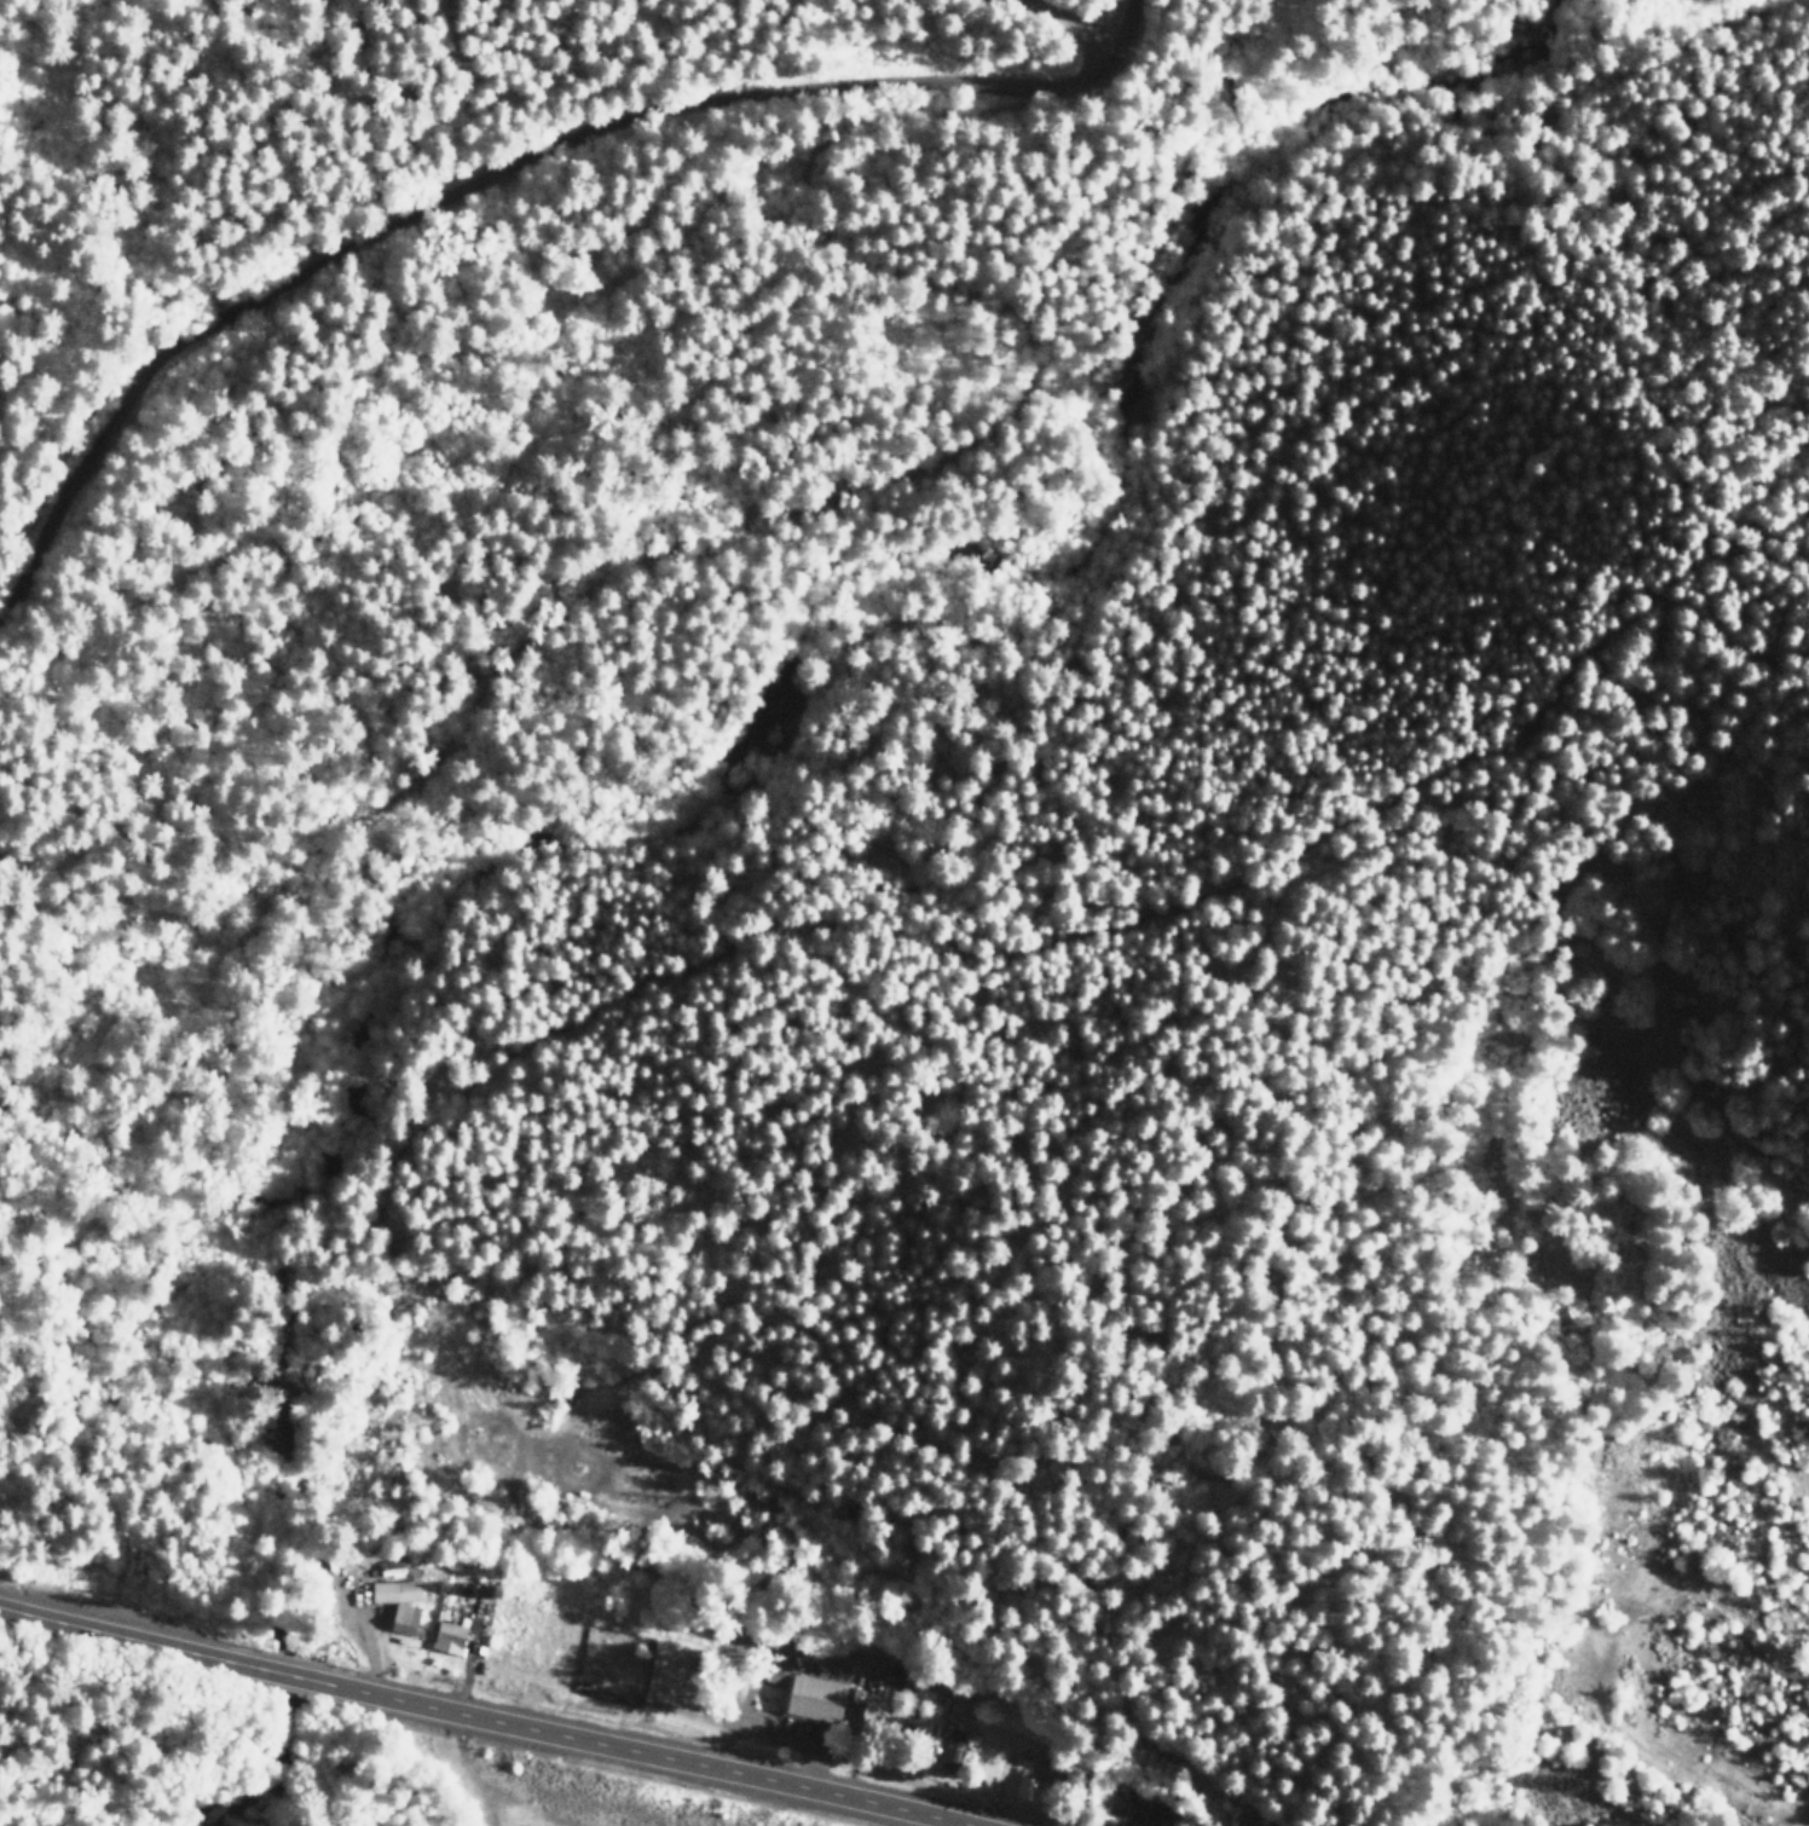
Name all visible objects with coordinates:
road: (1051, 22)
road: (497, 177)
building: (393, 1590)
building: (404, 1619)
building: (446, 1637)
road: (125, 1642)
road: (295, 1681)
building: (810, 1699)
building: (857, 1720)
road: (1647, 1743)
building: (949, 1750)
road: (648, 1757)
building: (1025, 1789)
building: (1125, 1809)

